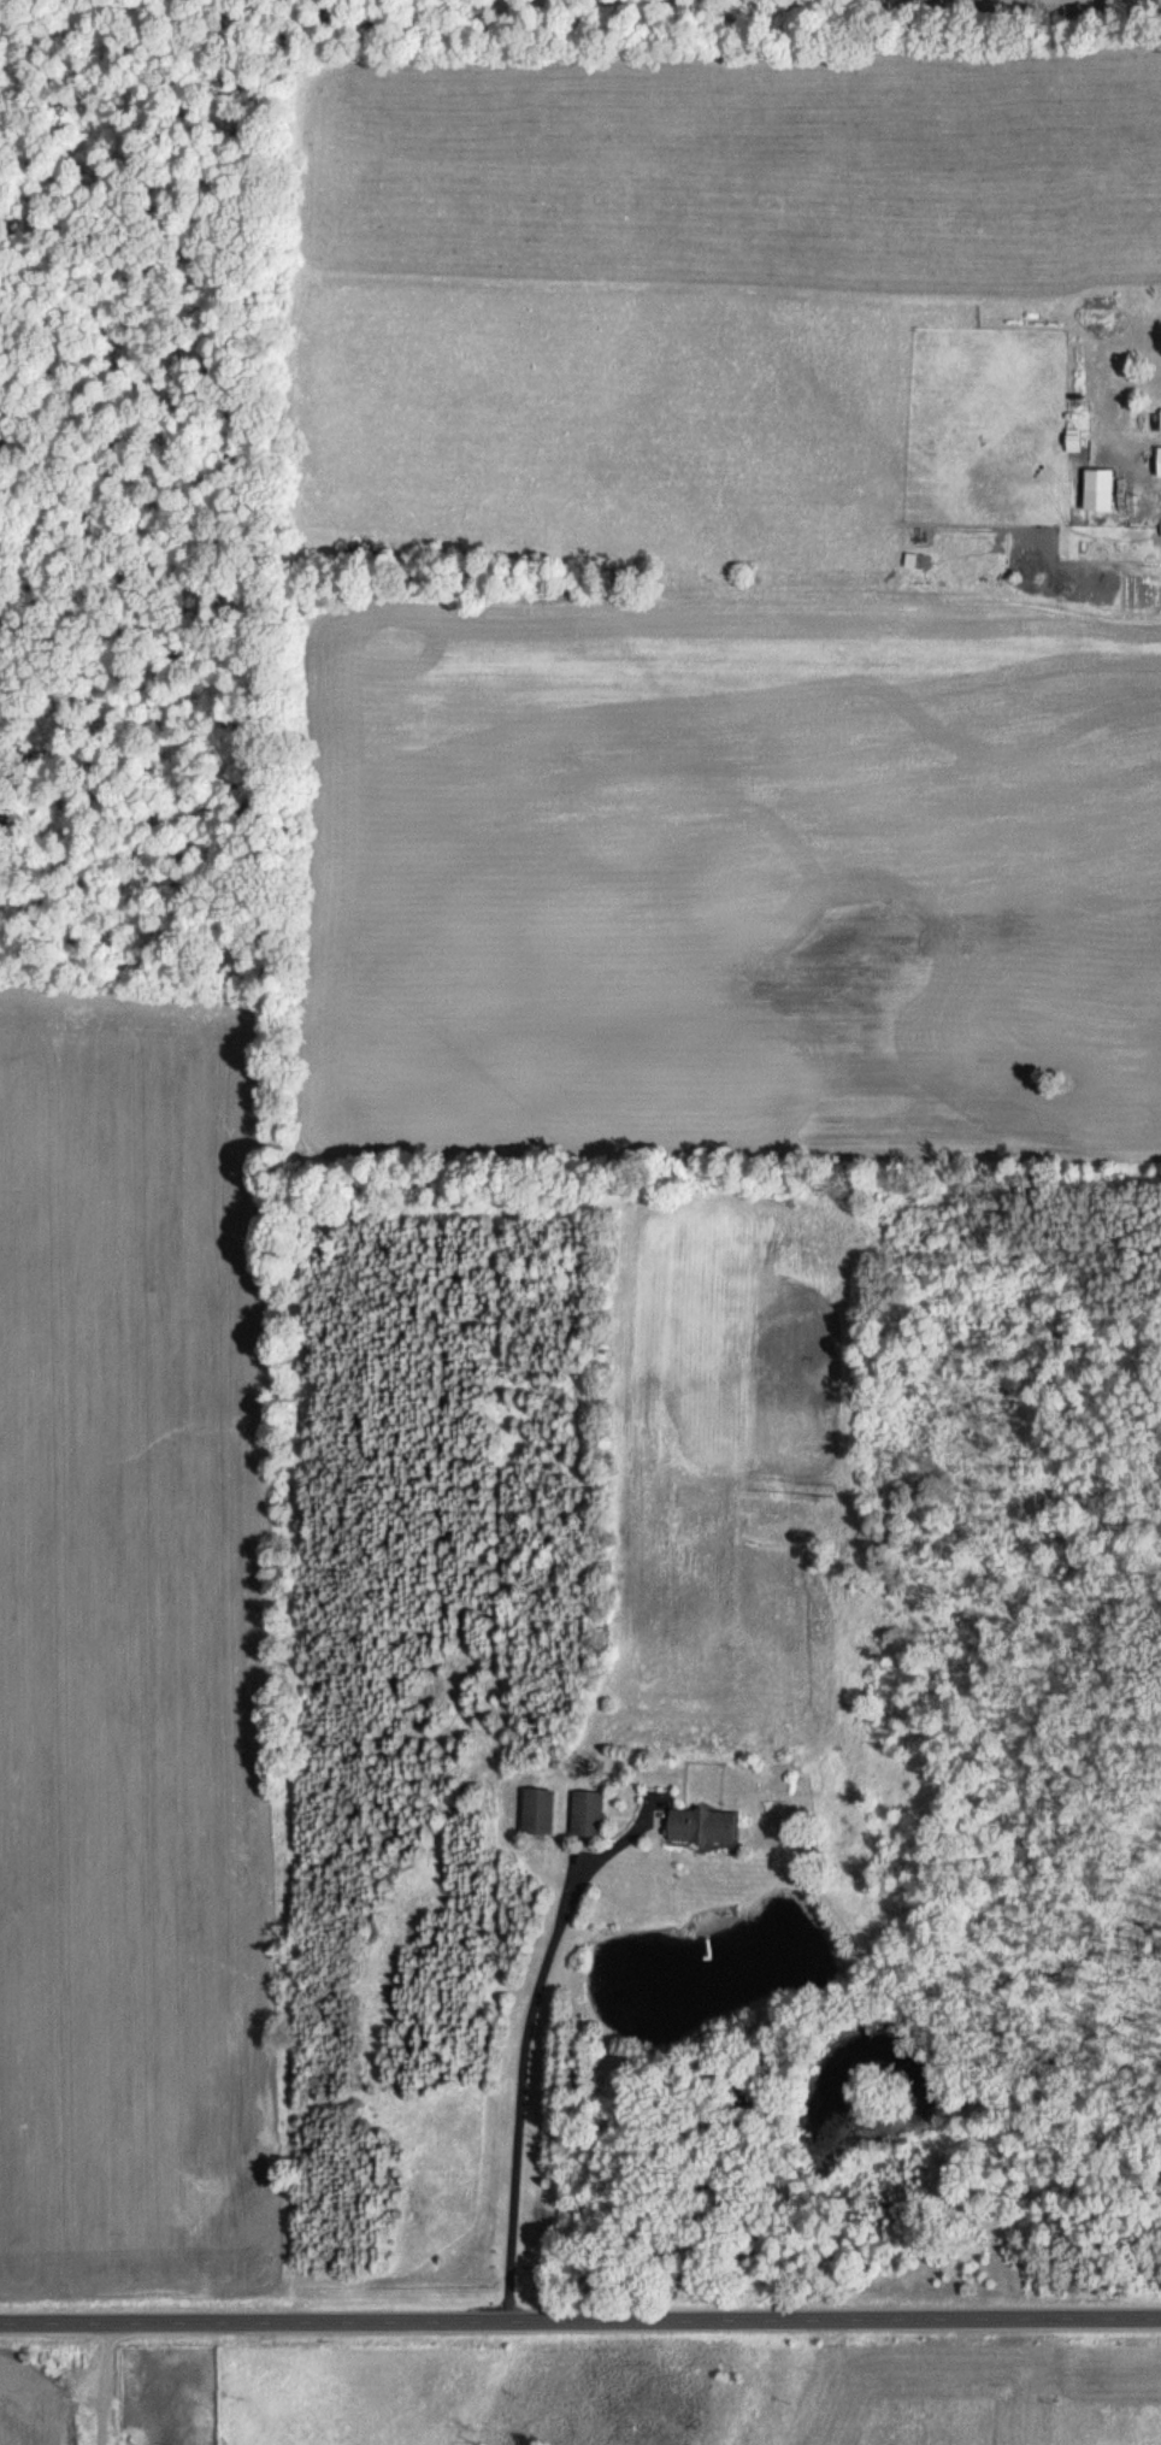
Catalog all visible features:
building: (1157, 461)
building: (536, 1809)
building: (585, 1813)
building: (700, 1825)
road: (525, 2042)
road: (579, 2317)

